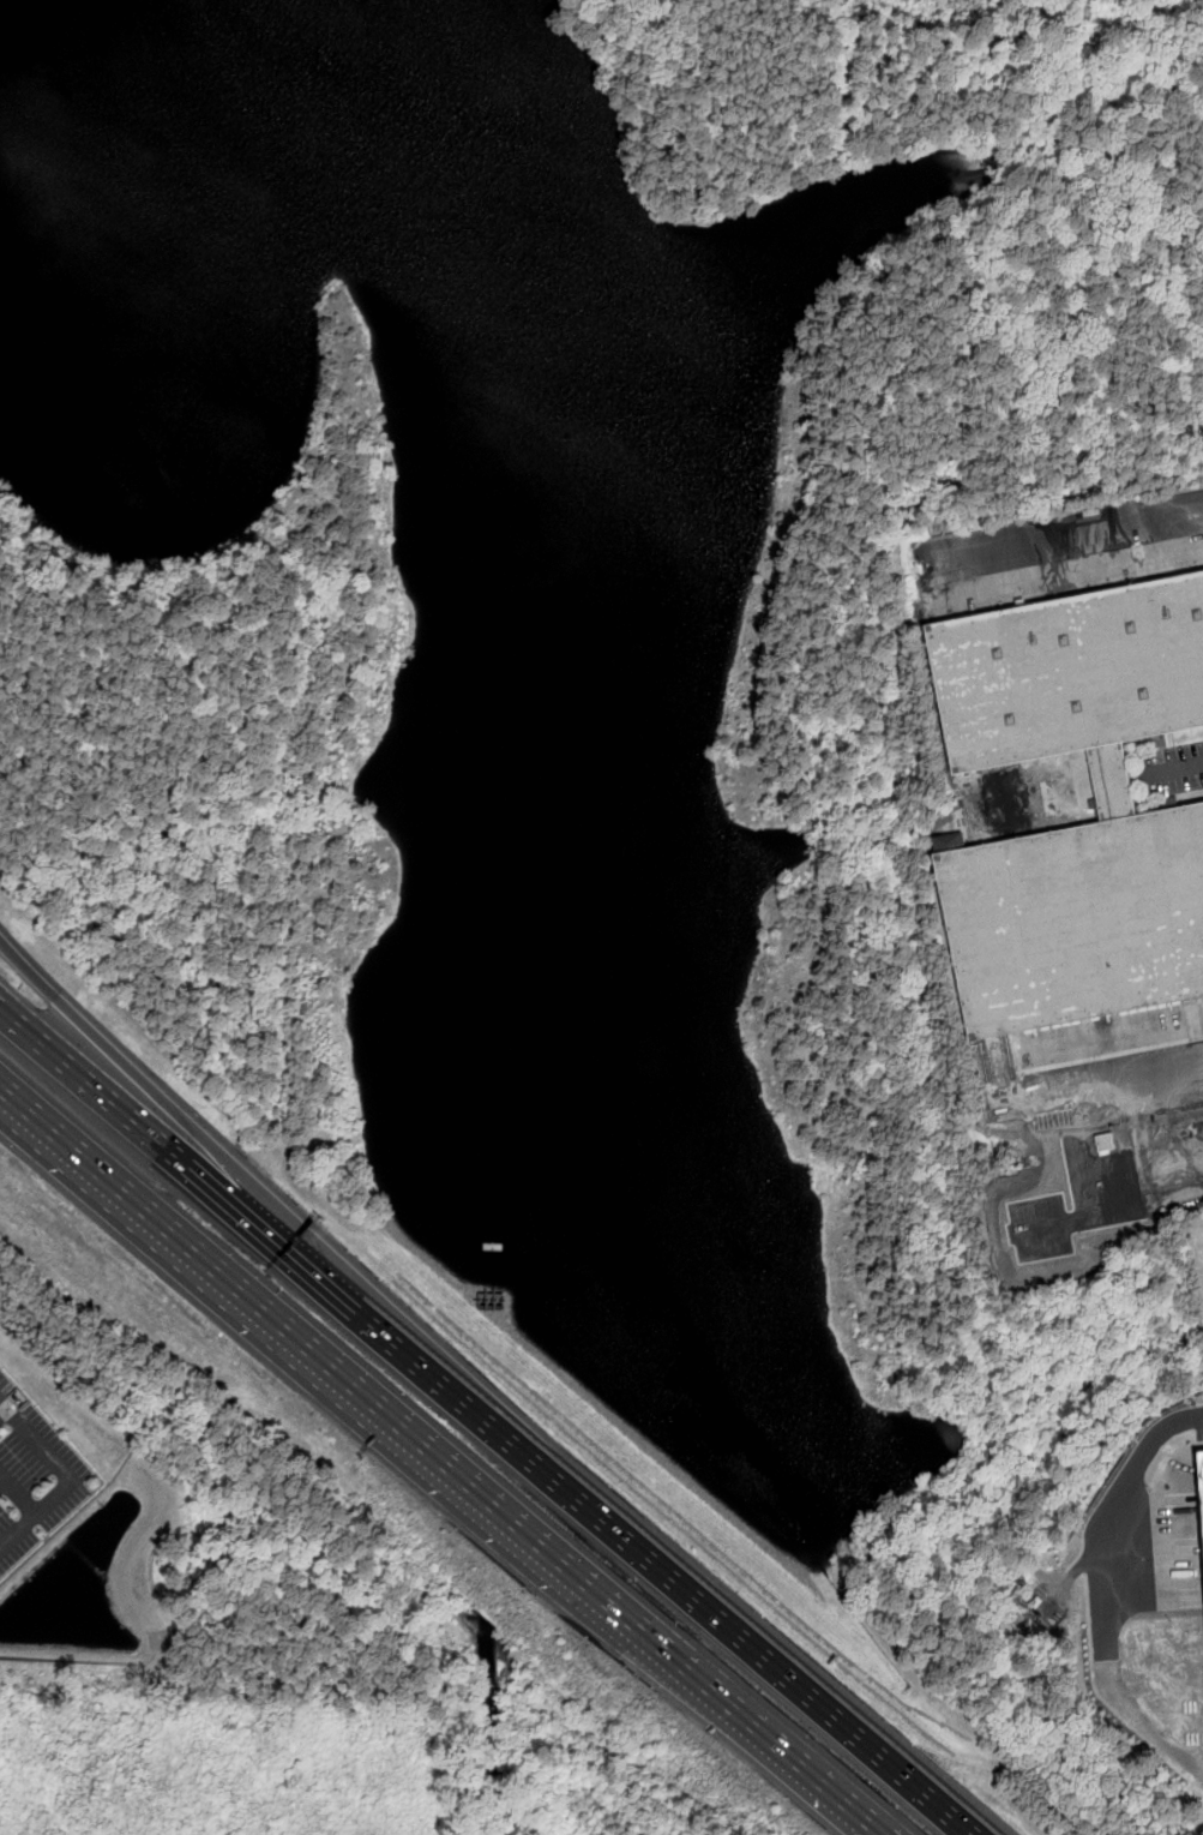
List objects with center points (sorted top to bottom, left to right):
road: (1064, 527)
building: (1072, 674)
road: (1179, 769)
building: (950, 841)
building: (1077, 923)
road: (0, 1003)
road: (1126, 1086)
road: (157, 1104)
building: (1105, 1141)
road: (1139, 1157)
road: (1073, 1158)
building: (1107, 1167)
road: (1107, 1212)
road: (363, 1381)
road: (4, 1415)
road: (493, 1423)
building: (1202, 1464)
parking lot: (34, 1476)
road: (71, 1477)
road: (4, 1485)
road: (18, 1494)
road: (1109, 1596)
building: (1034, 1606)
building: (1034, 1631)
road: (813, 1761)

